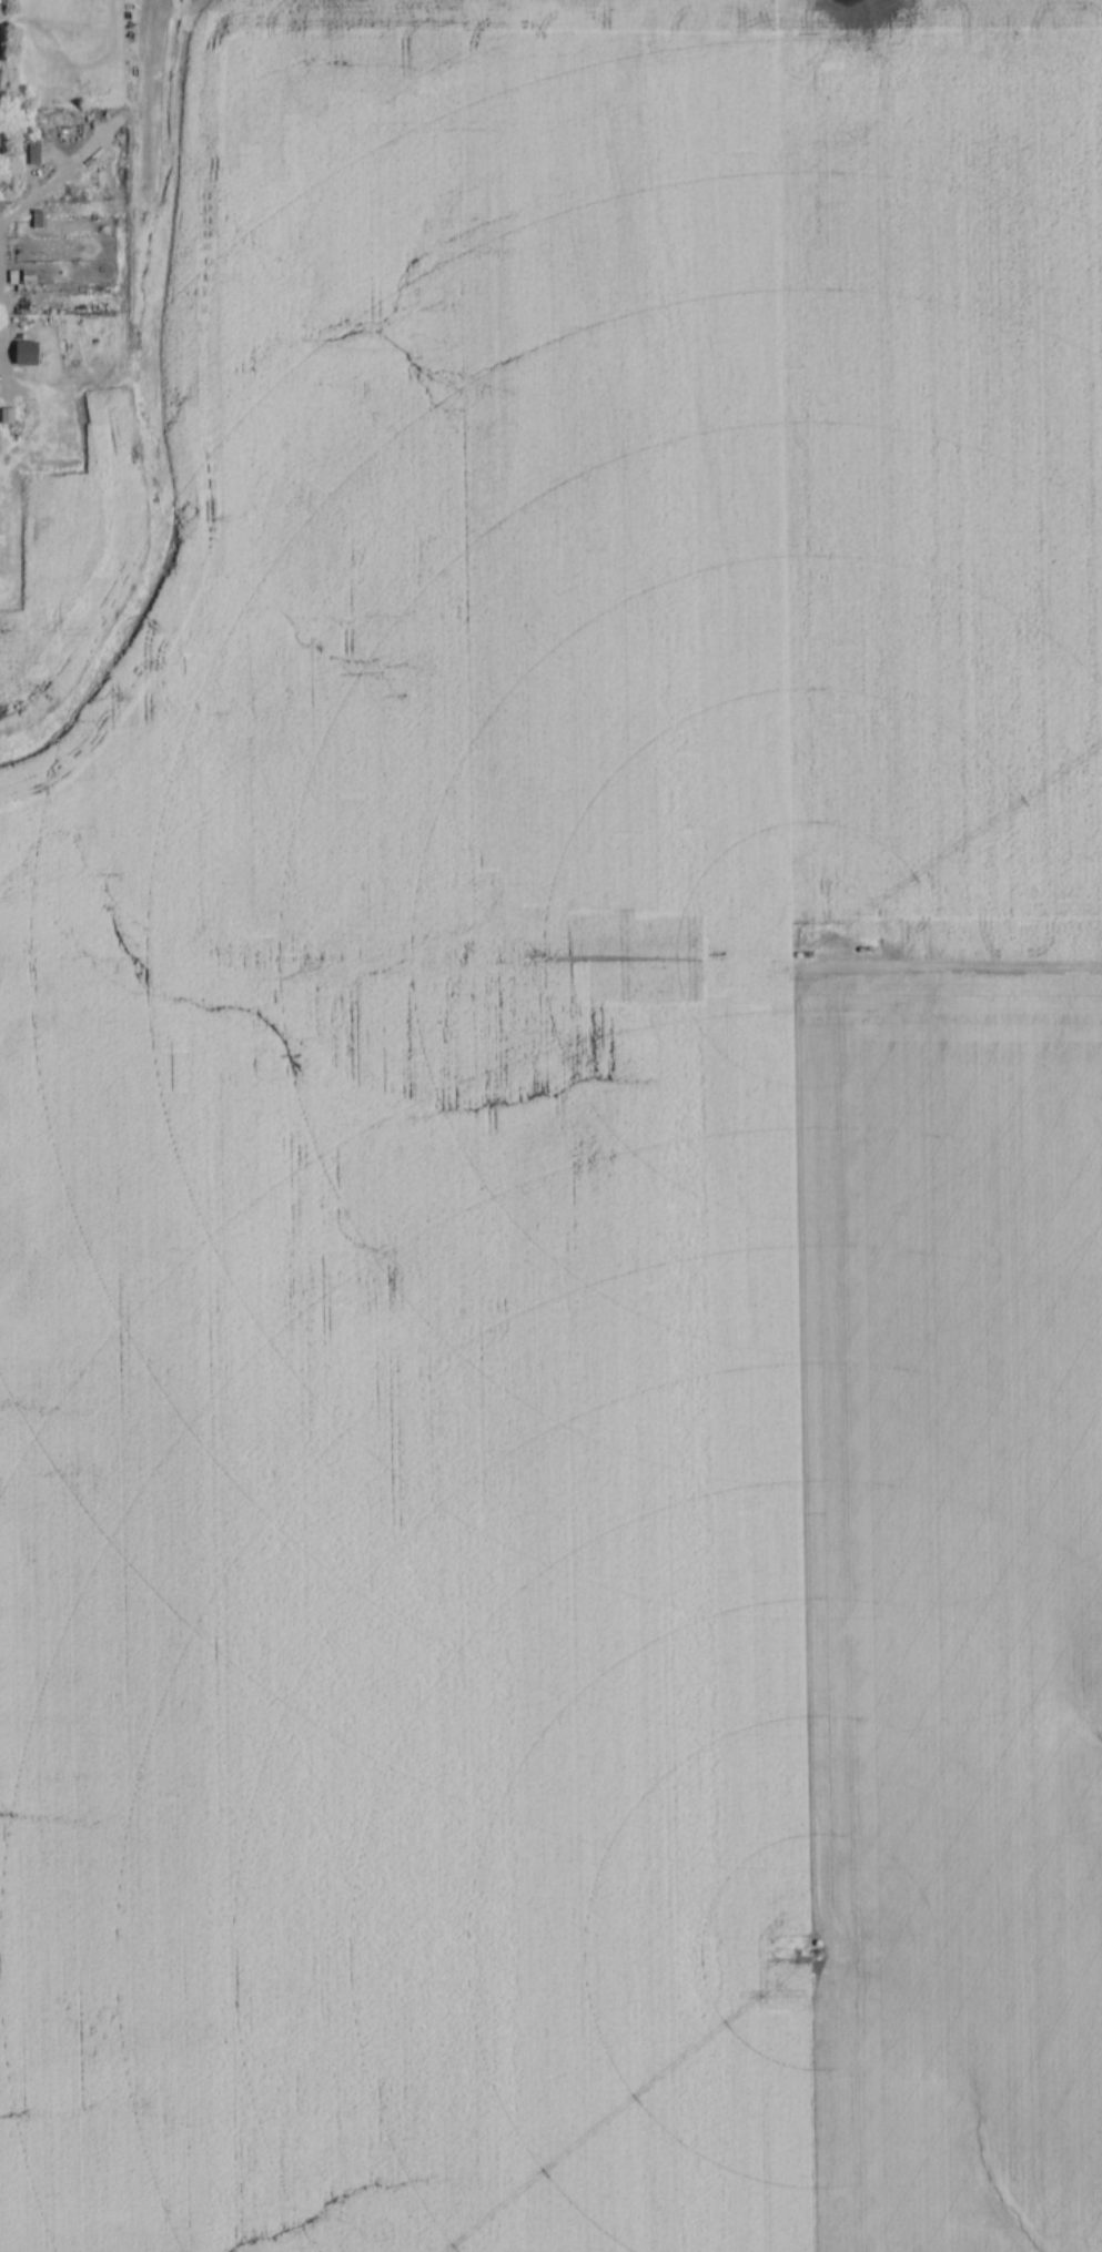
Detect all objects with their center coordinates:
building: (31, 151)
building: (22, 352)

